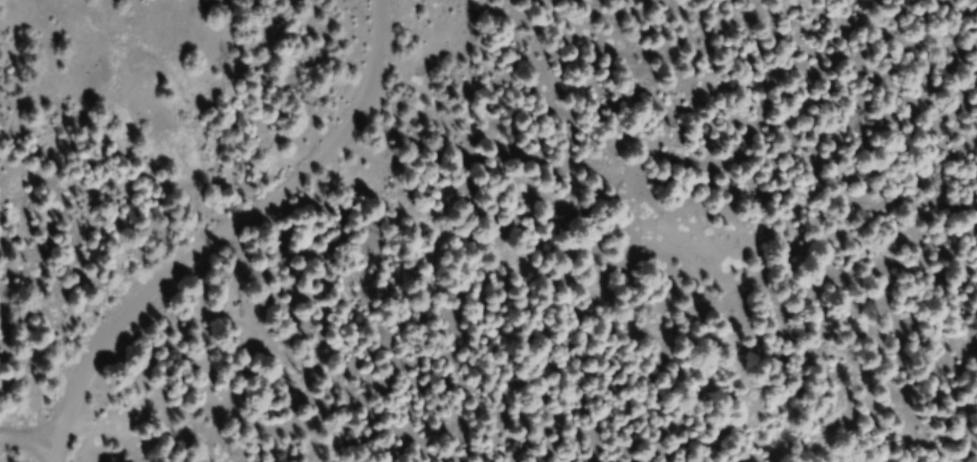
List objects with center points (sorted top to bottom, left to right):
road: (216, 228)
road: (31, 450)
road: (43, 456)

